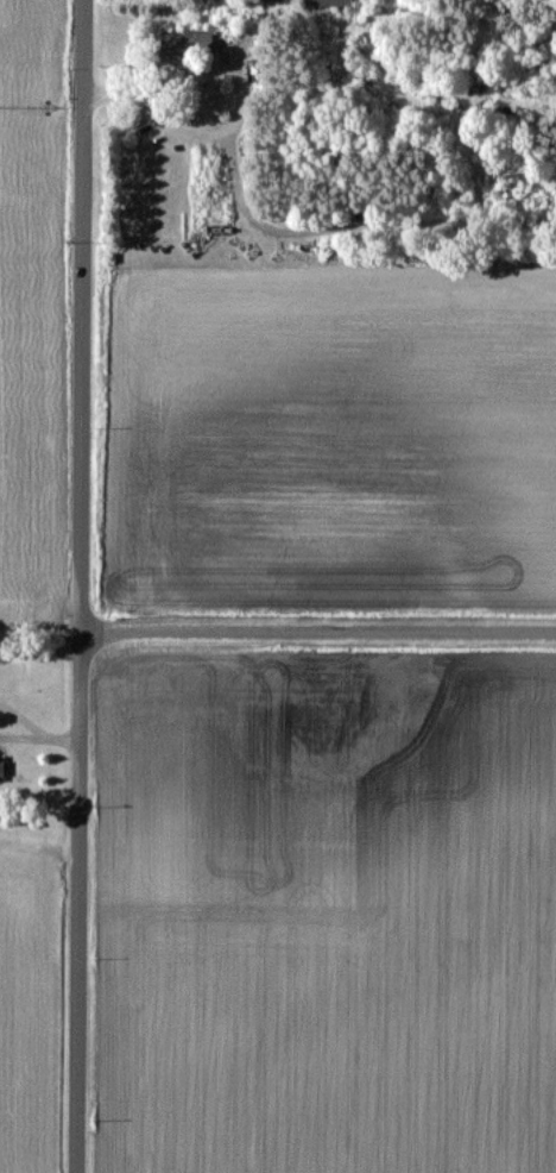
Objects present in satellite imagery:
building: (273, 0)
building: (327, 2)
building: (179, 40)
road: (285, 230)
road: (84, 586)
road: (320, 635)
road: (20, 721)
road: (20, 738)
road: (62, 739)
building: (1, 769)

